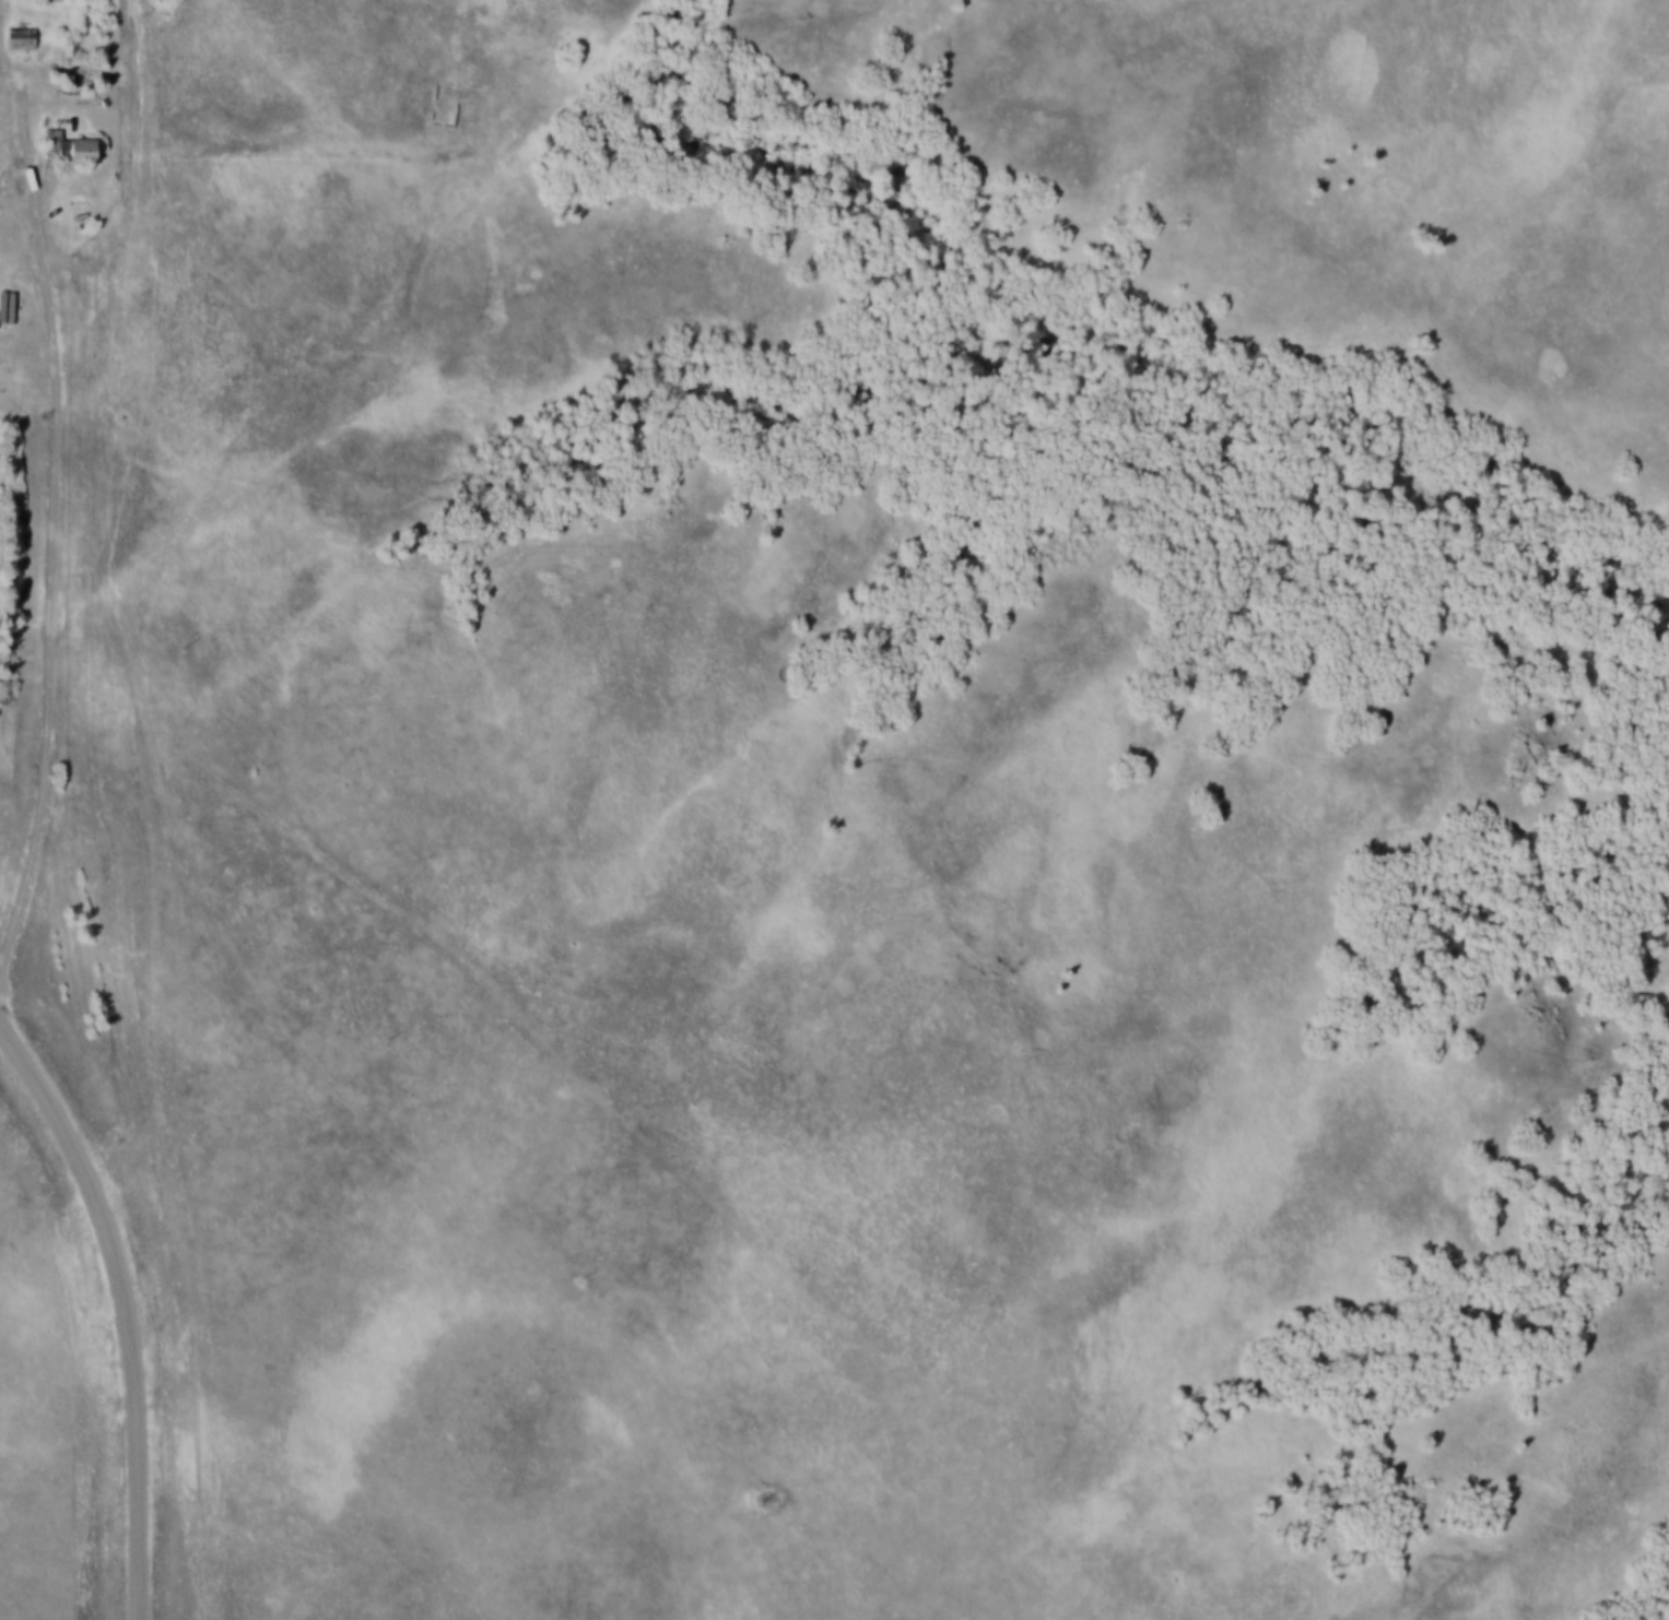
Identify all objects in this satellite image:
building: (27, 38)
road: (7, 70)
building: (85, 151)
road: (19, 212)
road: (57, 535)
road: (128, 945)
road: (127, 1306)

